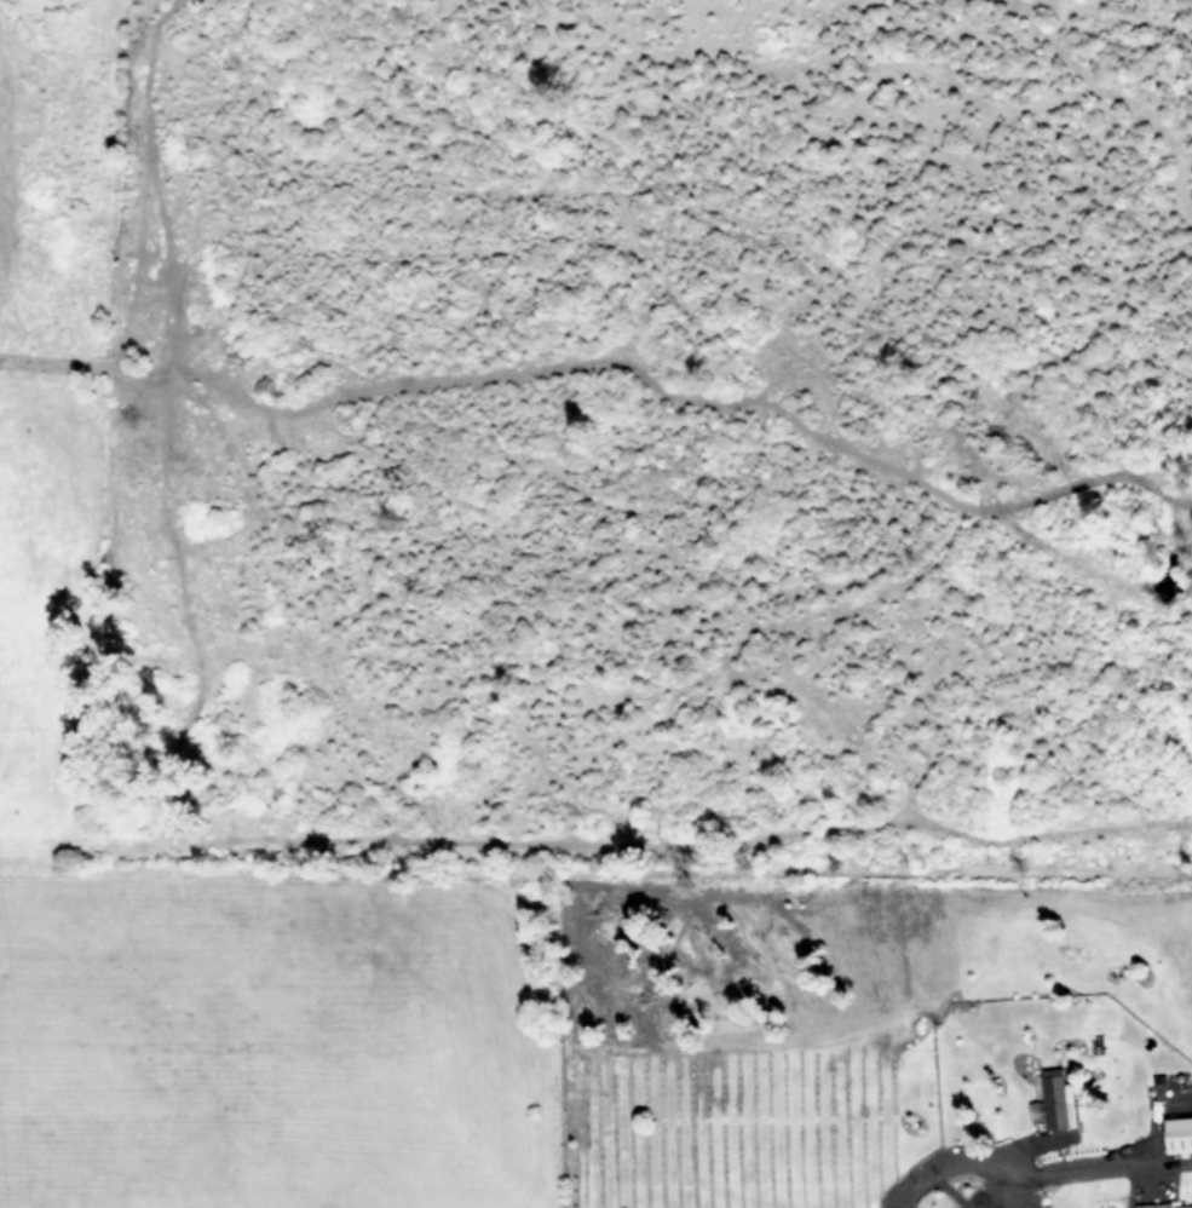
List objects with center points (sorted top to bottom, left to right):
building: (1054, 1099)
road: (1030, 1170)

